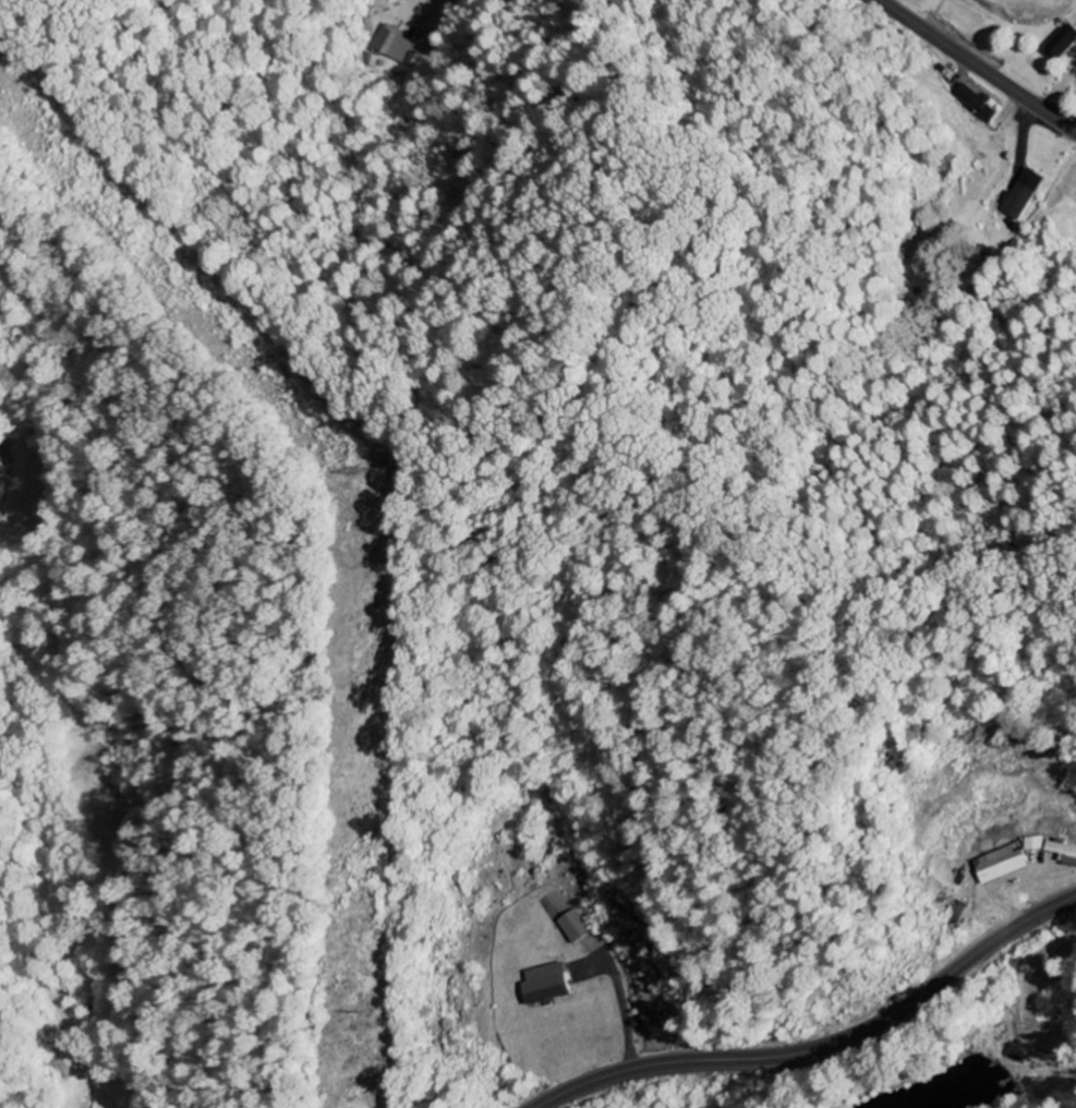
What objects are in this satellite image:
building: (1063, 44)
building: (396, 48)
road: (977, 65)
building: (978, 104)
building: (1023, 194)
power tower: (351, 471)
building: (1036, 844)
building: (1064, 852)
building: (1003, 865)
building: (578, 927)
building: (553, 985)
power tower: (348, 1013)
road: (823, 1046)

